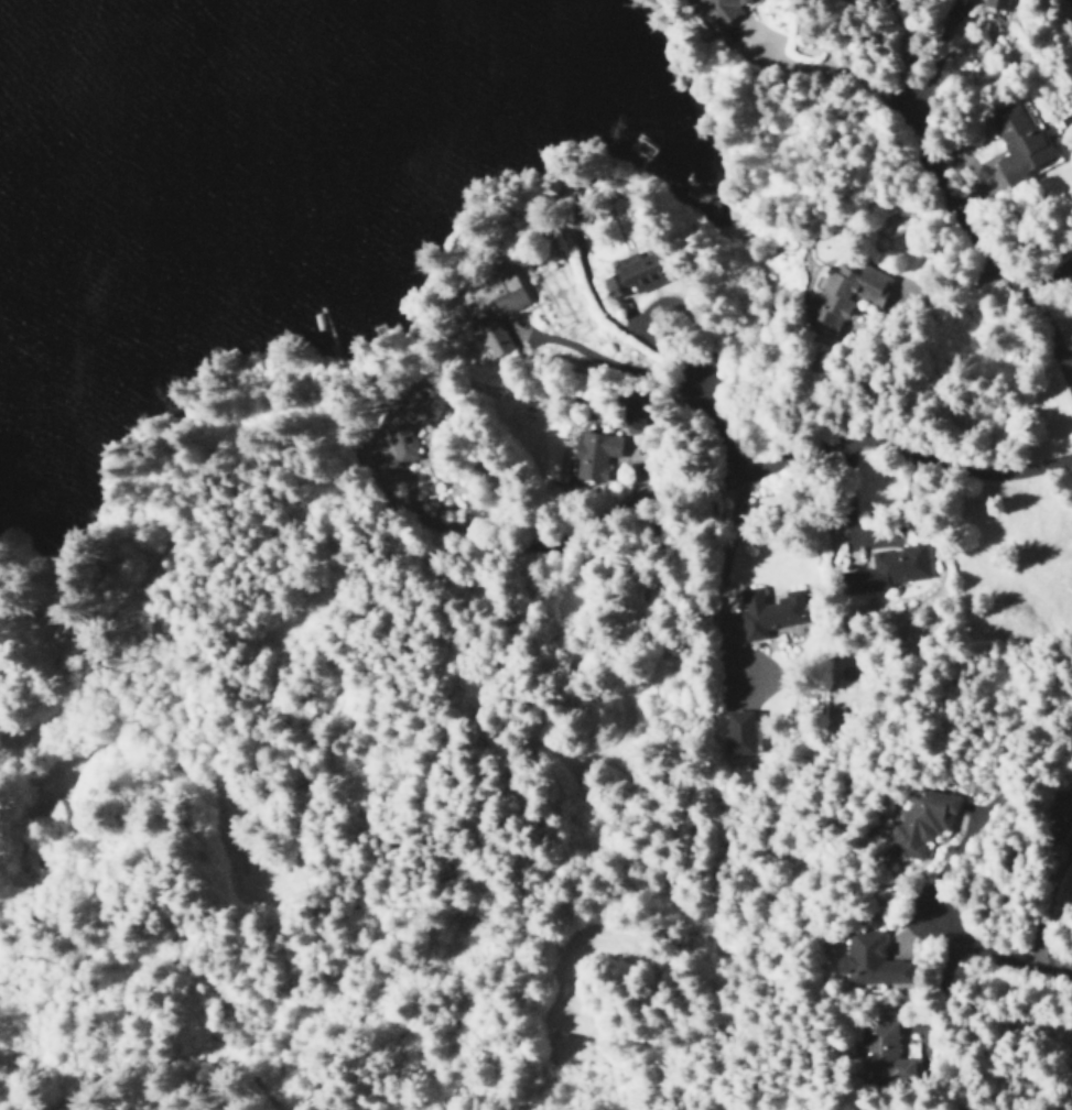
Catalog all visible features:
building: (994, 3)
building: (719, 9)
building: (1017, 143)
road: (993, 241)
building: (635, 274)
building: (853, 293)
building: (492, 312)
building: (408, 422)
road: (713, 429)
road: (809, 454)
building: (591, 455)
building: (884, 568)
building: (766, 611)
building: (736, 731)
building: (1068, 816)
building: (919, 823)
road: (996, 946)
building: (867, 960)
building: (881, 1054)

